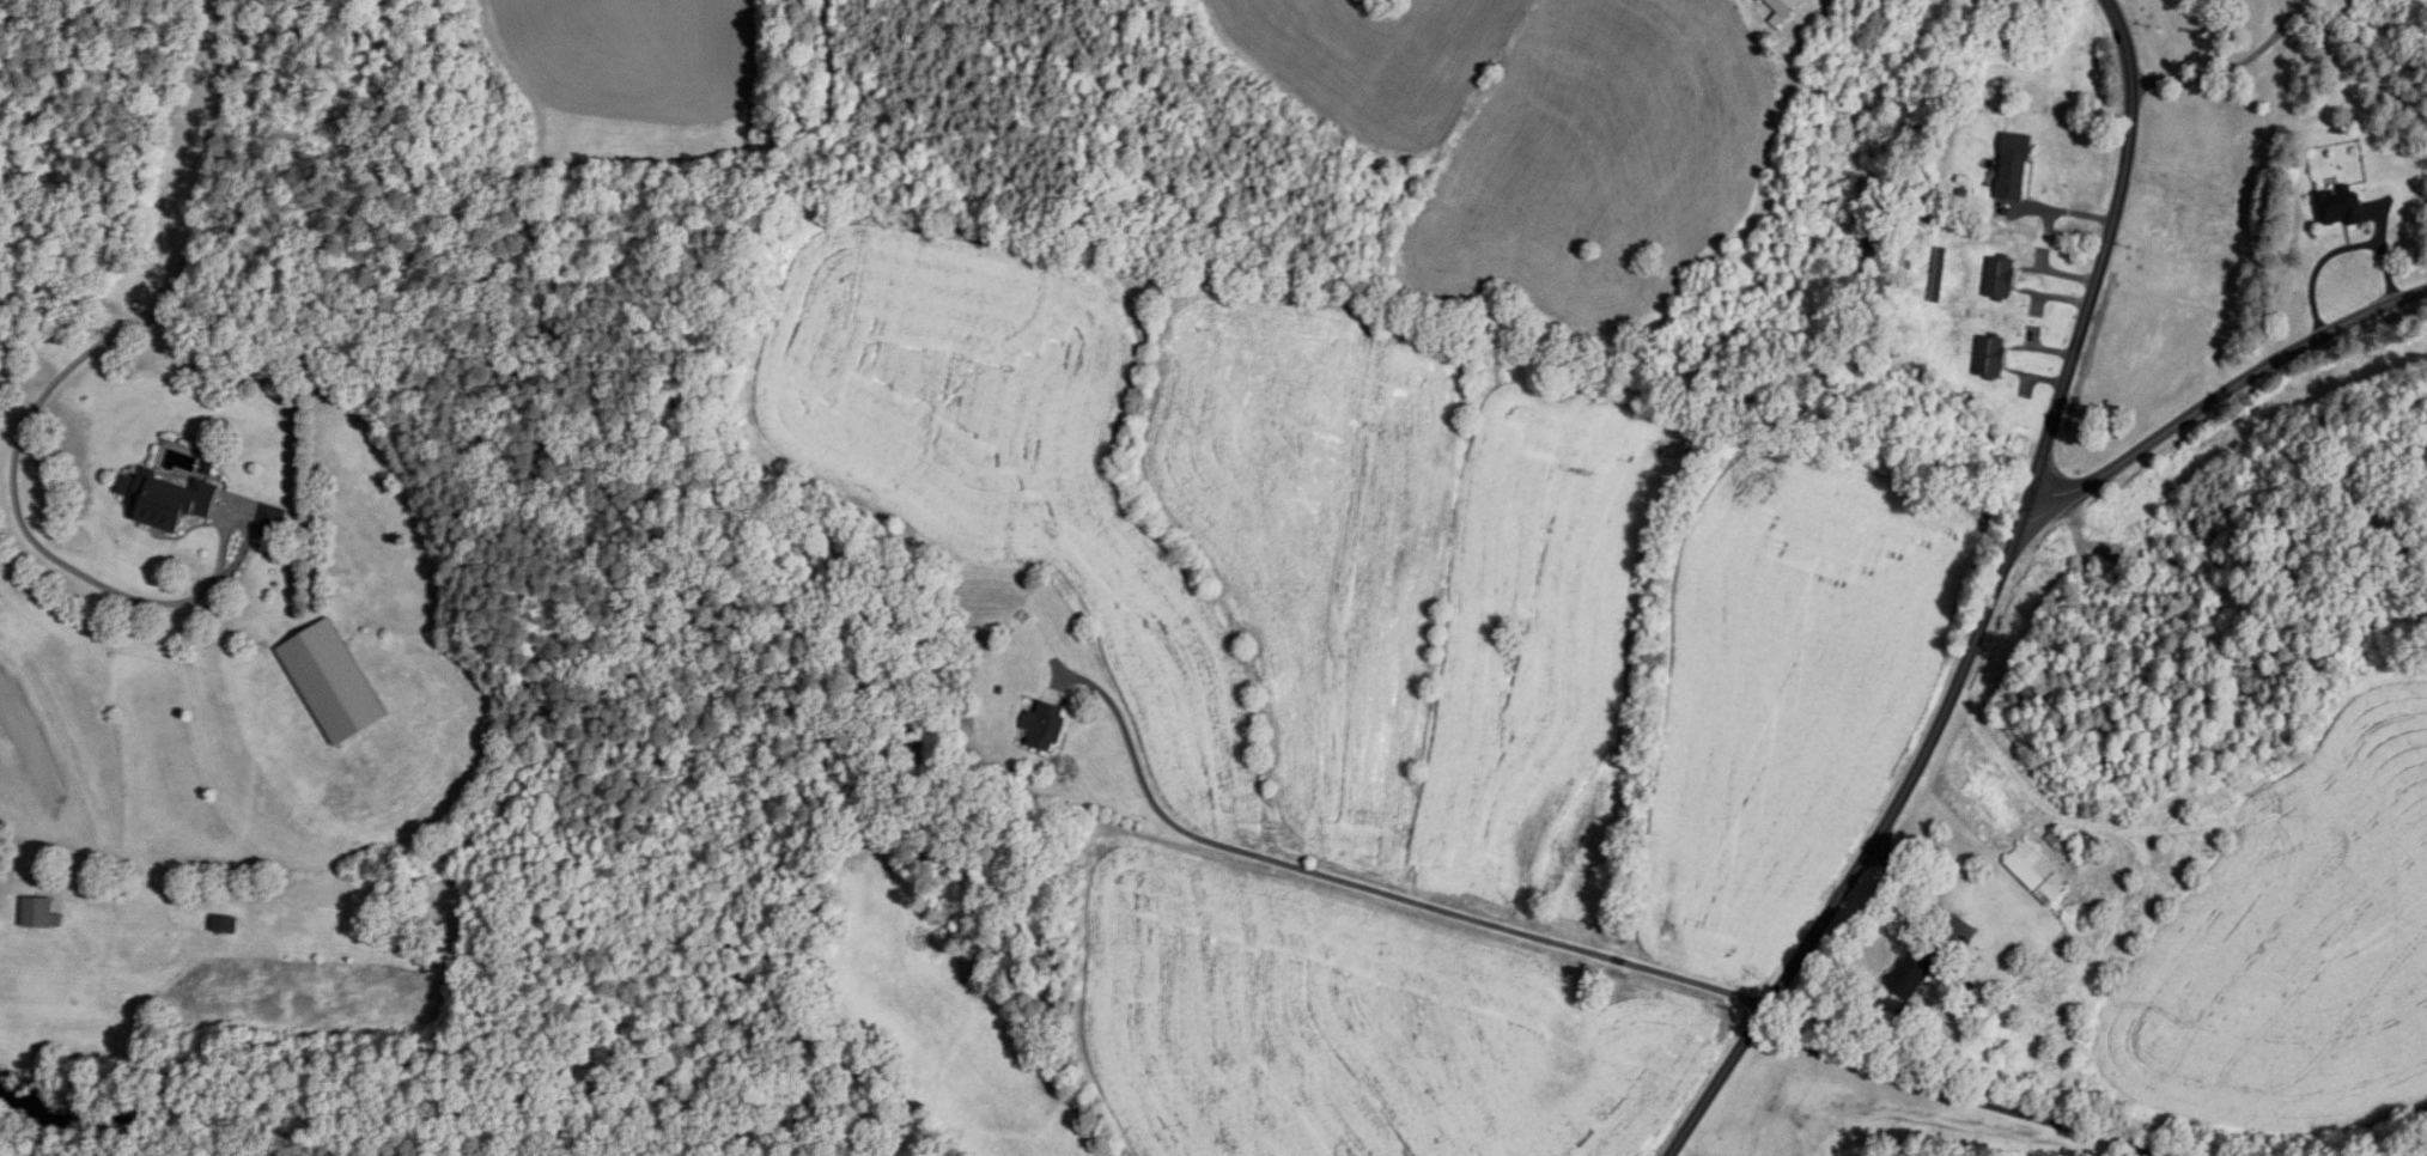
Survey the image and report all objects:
building: (1786, 6)
road: (2230, 67)
building: (2014, 166)
building: (2341, 207)
building: (2179, 223)
road: (2336, 250)
building: (2000, 279)
building: (1990, 358)
road: (75, 361)
road: (2225, 391)
building: (168, 499)
road: (242, 516)
building: (273, 522)
road: (1987, 608)
building: (1046, 726)
building: (2058, 840)
building: (2038, 874)
road: (1369, 890)
building: (41, 913)
building: (225, 925)
building: (1915, 969)
road: (1932, 1102)

